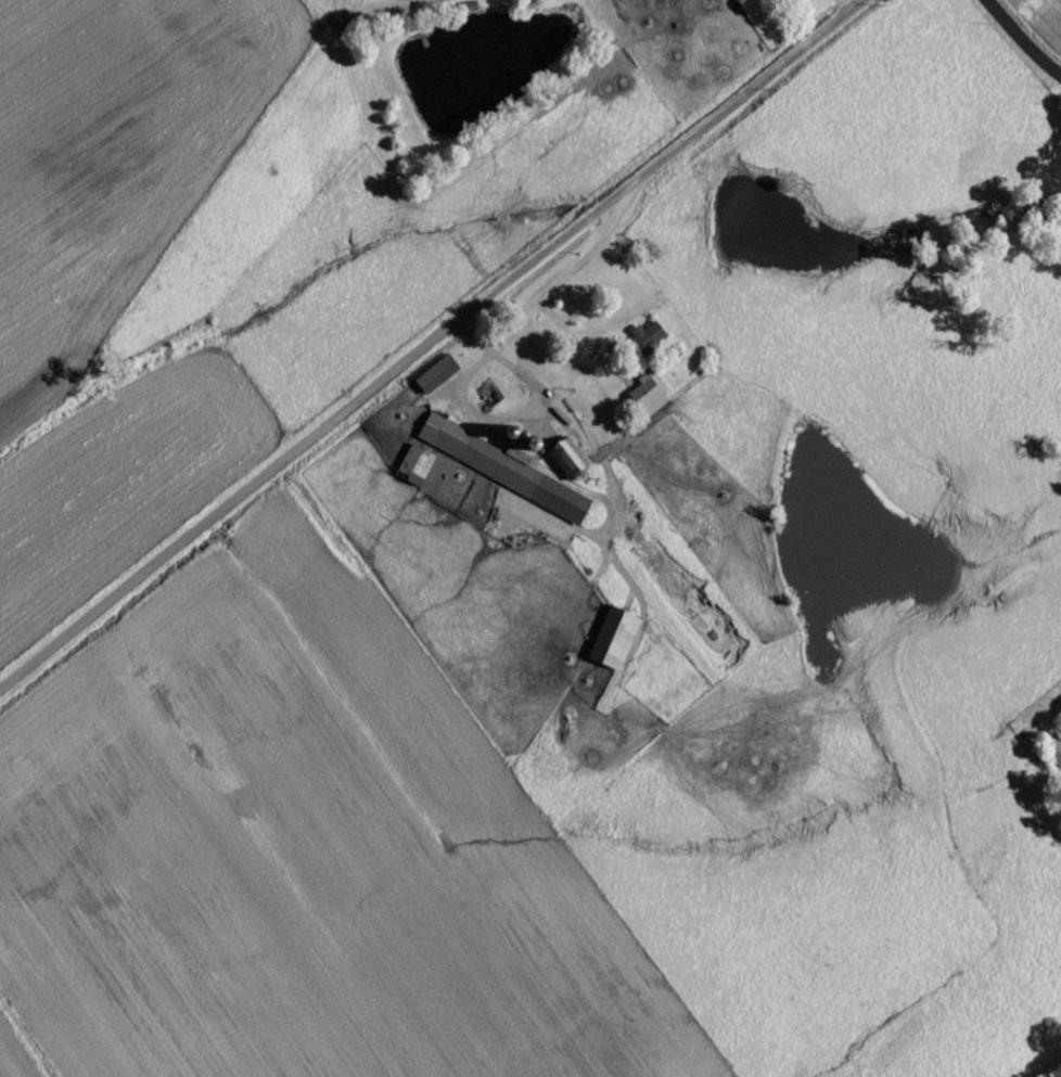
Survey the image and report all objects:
building: (801, 0)
road: (1017, 44)
road: (542, 295)
road: (432, 339)
building: (641, 347)
building: (433, 382)
building: (638, 398)
road: (501, 419)
building: (411, 473)
building: (497, 474)
building: (610, 645)
building: (1052, 757)

